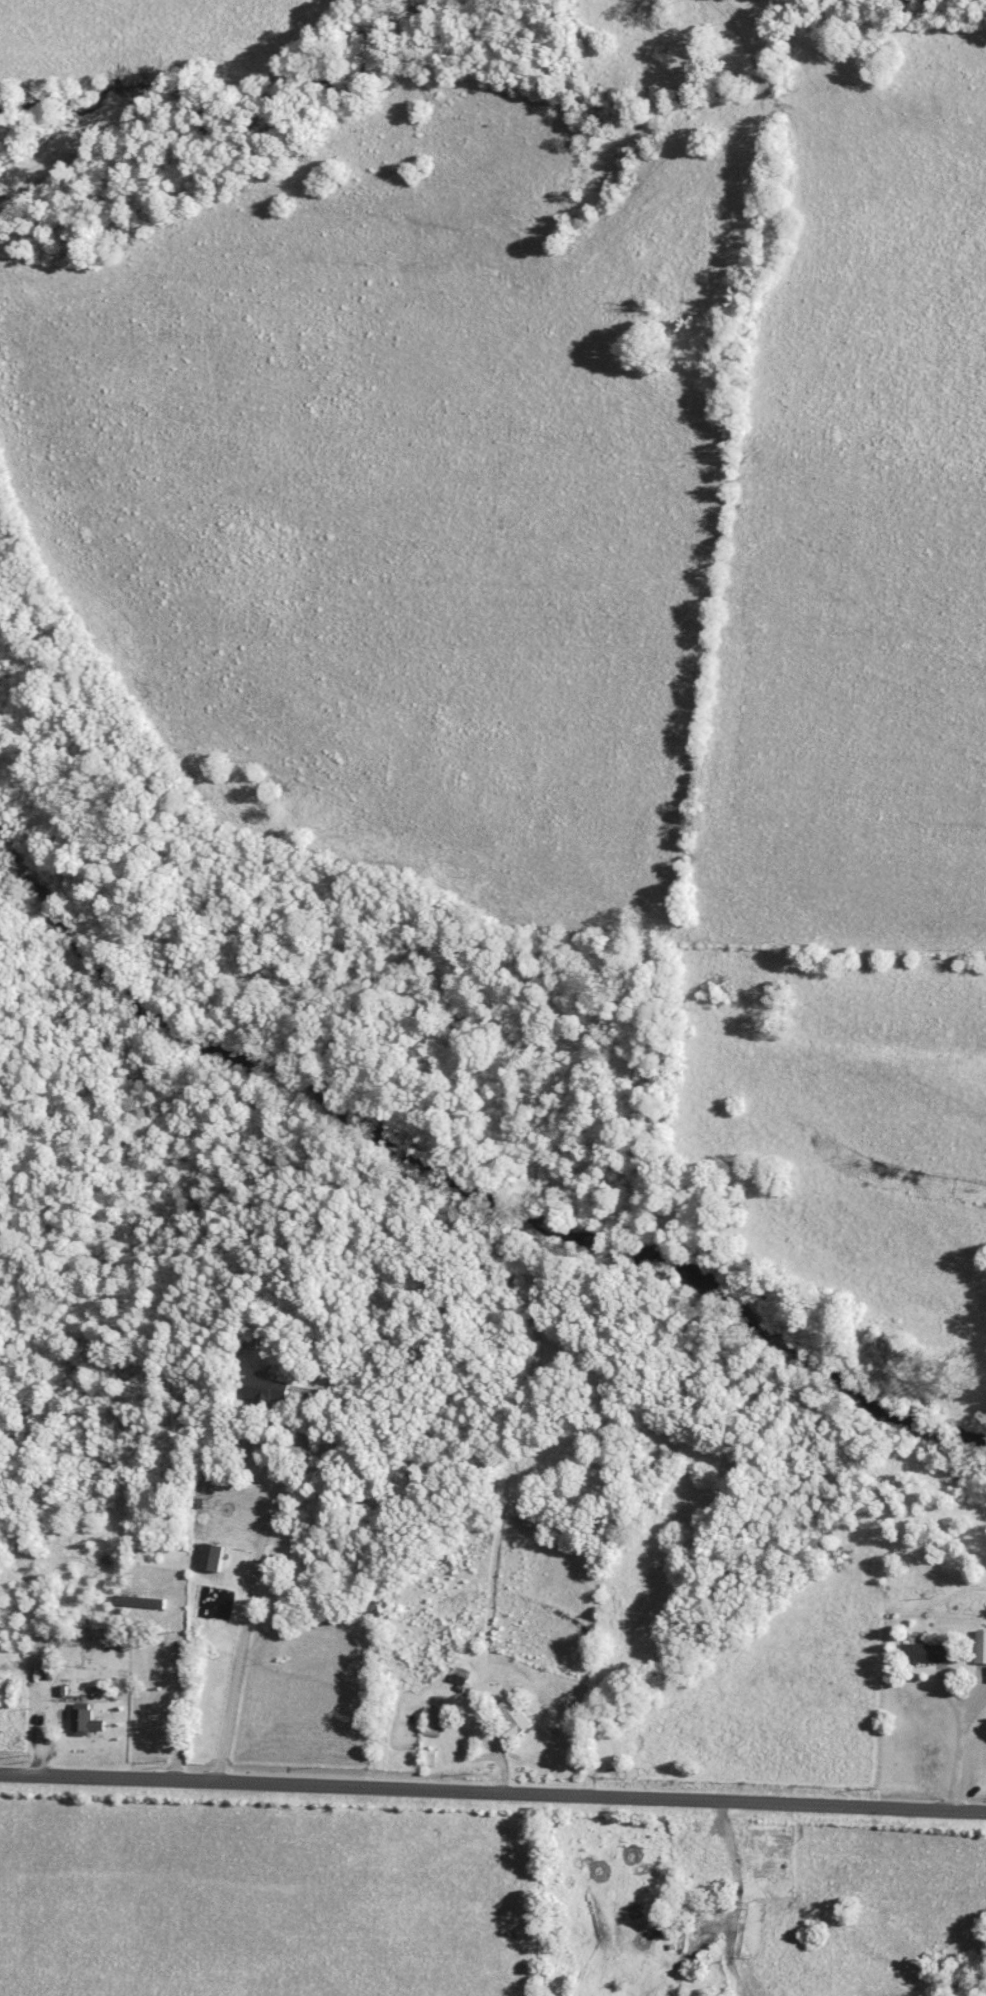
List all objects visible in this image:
building: (267, 1390)
road: (270, 1444)
building: (214, 1557)
building: (441, 1565)
building: (149, 1599)
road: (245, 1642)
building: (982, 1648)
building: (927, 1653)
building: (455, 1678)
road: (178, 1687)
building: (513, 1719)
building: (83, 1720)
building: (433, 1725)
road: (961, 1735)
building: (432, 1758)
road: (493, 1794)

